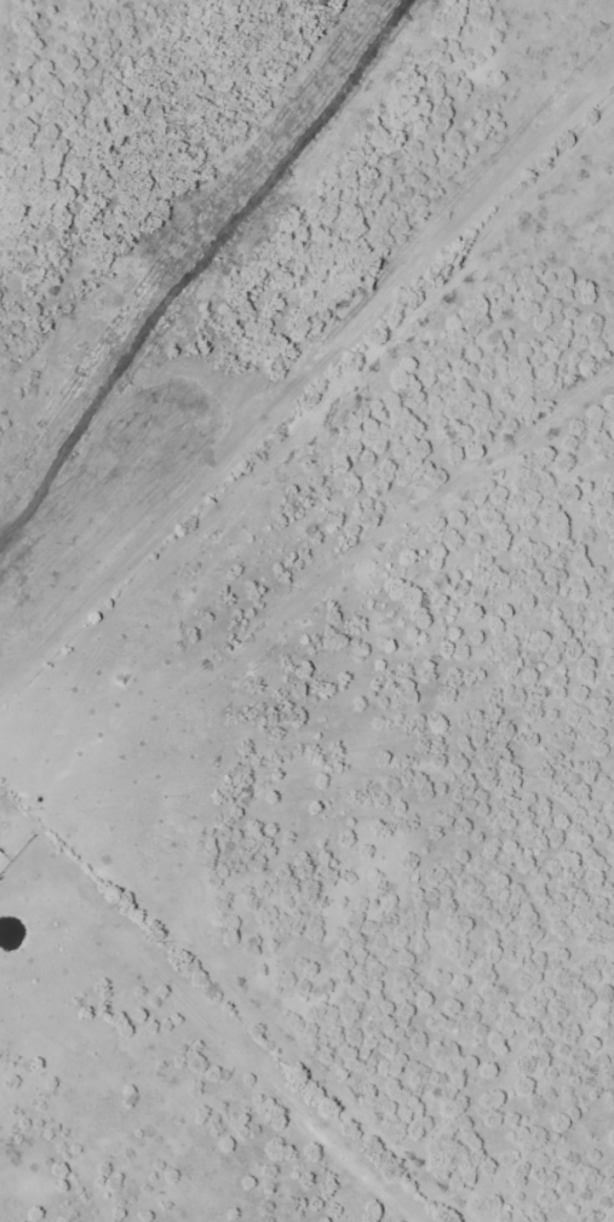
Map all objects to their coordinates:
road: (5, 1217)

